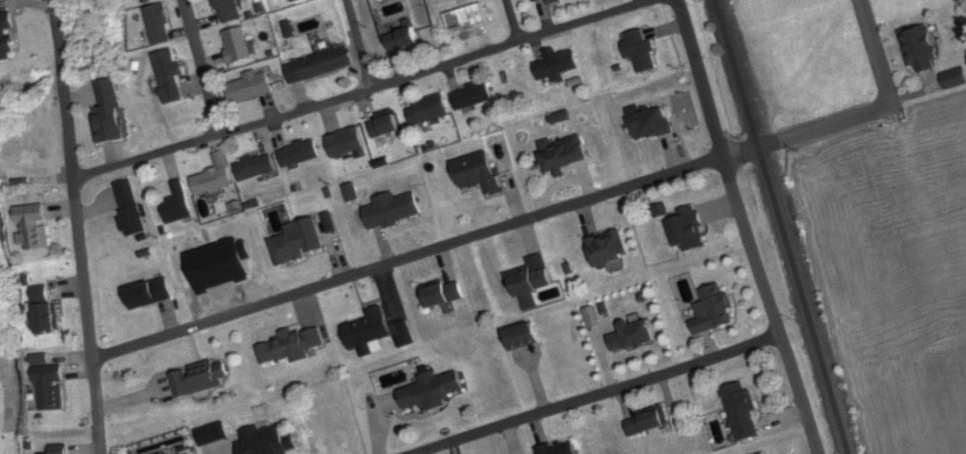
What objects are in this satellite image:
building: (295, 0)
building: (538, 0)
building: (554, 1)
building: (229, 10)
road: (511, 21)
building: (461, 22)
building: (160, 24)
building: (405, 37)
building: (8, 39)
building: (238, 45)
road: (357, 45)
building: (639, 48)
building: (921, 48)
building: (327, 63)
building: (558, 65)
road: (441, 67)
road: (203, 68)
building: (171, 75)
building: (956, 78)
building: (251, 87)
building: (472, 95)
building: (429, 109)
building: (109, 110)
road: (857, 115)
building: (386, 124)
building: (651, 124)
building: (346, 143)
building: (300, 153)
building: (567, 154)
road: (150, 157)
building: (256, 166)
building: (478, 174)
building: (216, 178)
building: (180, 205)
building: (131, 207)
building: (394, 210)
railway: (772, 226)
building: (34, 227)
road: (742, 227)
building: (687, 232)
building: (297, 243)
building: (609, 250)
road: (407, 260)
building: (531, 280)
building: (151, 293)
building: (443, 294)
building: (48, 309)
building: (711, 313)
road: (89, 318)
building: (370, 329)
building: (638, 335)
building: (293, 346)
building: (202, 377)
building: (52, 387)
building: (436, 390)
road: (601, 396)
building: (738, 413)
building: (656, 421)
building: (266, 440)
building: (560, 448)
building: (62, 449)
building: (766, 453)

